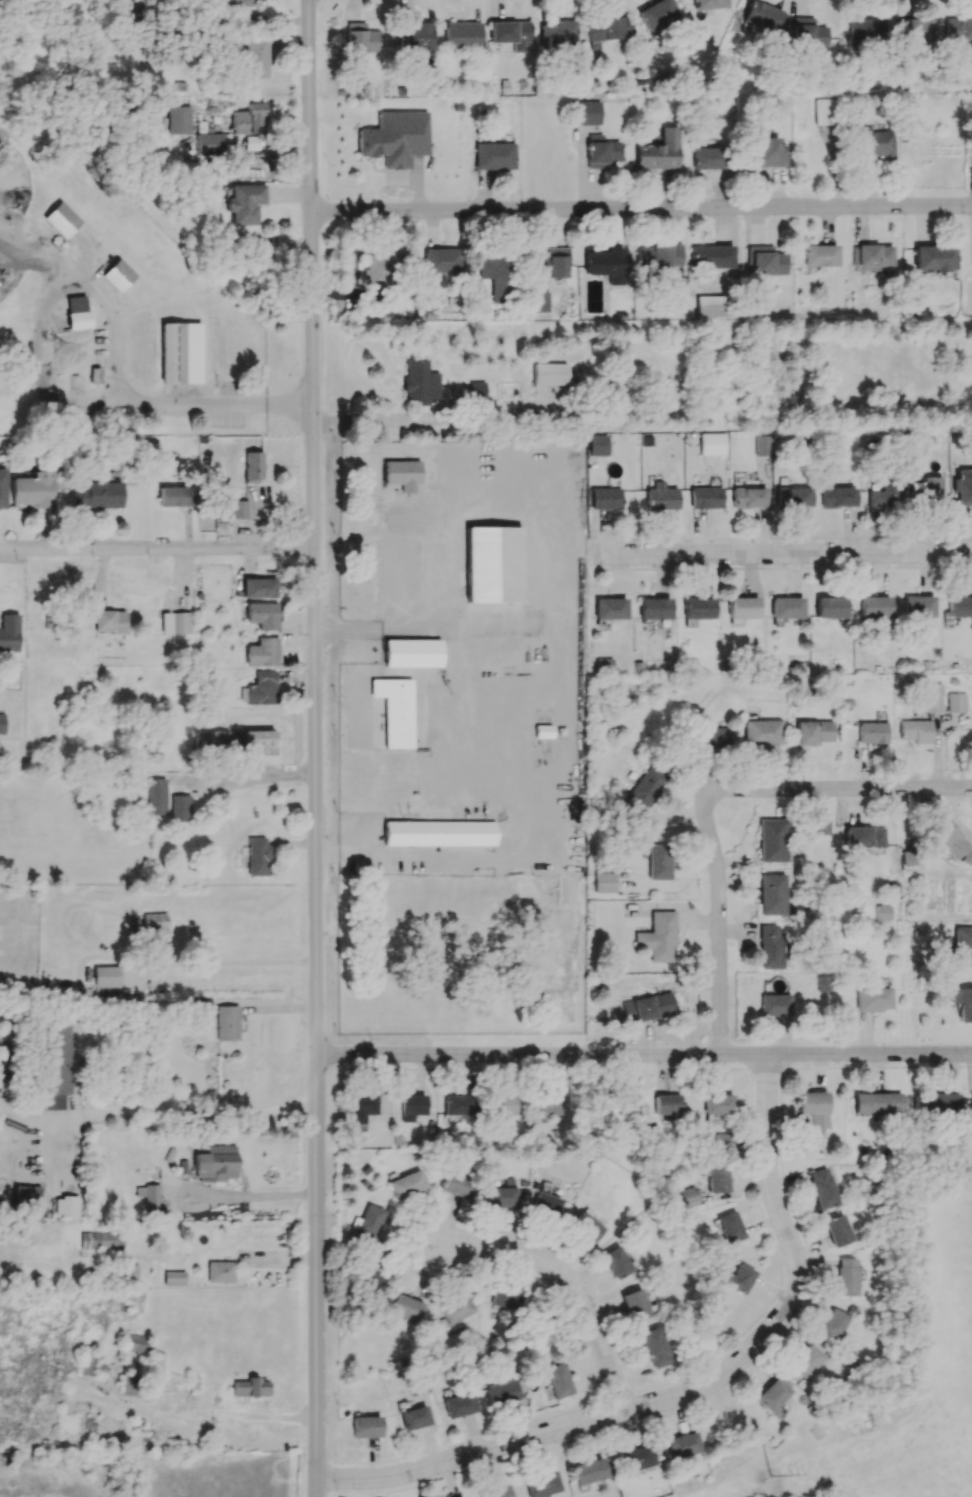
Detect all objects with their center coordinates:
building: (235, 2)
building: (709, 4)
building: (656, 13)
building: (762, 15)
building: (912, 29)
building: (958, 29)
building: (606, 30)
building: (865, 30)
building: (510, 33)
building: (807, 33)
building: (557, 34)
building: (462, 35)
building: (361, 37)
building: (417, 42)
building: (255, 59)
building: (826, 111)
building: (588, 112)
building: (247, 118)
building: (178, 119)
building: (395, 138)
building: (209, 143)
building: (875, 145)
building: (601, 151)
building: (769, 151)
building: (494, 155)
building: (710, 158)
building: (245, 203)
road: (642, 208)
building: (61, 219)
building: (820, 255)
building: (658, 256)
building: (711, 256)
building: (872, 256)
building: (934, 257)
building: (441, 260)
building: (765, 260)
building: (551, 263)
building: (605, 264)
building: (377, 270)
building: (118, 275)
building: (497, 277)
building: (539, 301)
building: (709, 305)
building: (77, 312)
road: (45, 337)
building: (180, 353)
building: (549, 373)
building: (420, 382)
building: (476, 389)
road: (216, 408)
road: (435, 422)
building: (692, 438)
building: (712, 443)
building: (597, 445)
building: (762, 445)
building: (253, 467)
building: (403, 474)
building: (3, 488)
building: (33, 489)
building: (927, 489)
building: (964, 489)
building: (885, 494)
building: (97, 495)
building: (176, 496)
building: (661, 496)
building: (793, 496)
building: (837, 496)
building: (705, 497)
building: (748, 497)
building: (604, 498)
building: (238, 509)
road: (157, 550)
road: (784, 554)
building: (259, 587)
building: (491, 592)
building: (918, 606)
building: (959, 606)
building: (742, 607)
building: (786, 607)
building: (830, 607)
building: (874, 607)
building: (610, 608)
building: (656, 608)
building: (698, 608)
building: (263, 615)
building: (110, 621)
building: (176, 623)
road: (380, 627)
road: (503, 627)
building: (9, 632)
building: (263, 652)
building: (412, 653)
building: (604, 665)
road: (560, 671)
building: (262, 688)
building: (933, 697)
building: (956, 702)
building: (395, 710)
building: (2, 723)
building: (916, 731)
building: (762, 732)
building: (813, 732)
building: (872, 732)
building: (713, 738)
building: (211, 740)
building: (252, 742)
road: (315, 748)
road: (257, 773)
building: (645, 788)
road: (837, 788)
building: (157, 795)
building: (180, 808)
building: (820, 826)
building: (438, 833)
building: (865, 838)
building: (773, 840)
building: (953, 843)
building: (258, 856)
building: (658, 861)
building: (604, 882)
building: (772, 894)
building: (883, 912)
road: (718, 923)
building: (155, 926)
building: (658, 936)
building: (962, 945)
building: (770, 946)
road: (232, 966)
building: (106, 981)
building: (825, 984)
building: (874, 998)
building: (960, 1002)
building: (775, 1004)
building: (202, 1006)
building: (647, 1007)
building: (226, 1022)
road: (643, 1053)
building: (56, 1065)
building: (971, 1101)
building: (877, 1102)
building: (717, 1103)
building: (936, 1103)
building: (458, 1104)
building: (546, 1104)
building: (666, 1104)
building: (503, 1105)
road: (187, 1106)
building: (412, 1106)
building: (363, 1108)
building: (813, 1109)
building: (214, 1161)
building: (718, 1179)
building: (406, 1184)
building: (456, 1184)
building: (27, 1185)
building: (823, 1188)
building: (687, 1196)
building: (151, 1197)
road: (244, 1202)
building: (544, 1204)
building: (371, 1220)
building: (586, 1225)
building: (730, 1227)
building: (838, 1230)
building: (101, 1240)
building: (616, 1262)
building: (220, 1271)
building: (132, 1272)
building: (847, 1276)
building: (174, 1278)
building: (738, 1278)
road: (568, 1280)
building: (505, 1297)
building: (635, 1304)
building: (406, 1307)
building: (455, 1309)
building: (833, 1323)
building: (541, 1335)
building: (135, 1343)
building: (654, 1347)
building: (87, 1359)
building: (806, 1360)
building: (558, 1380)
building: (131, 1385)
building: (417, 1386)
building: (250, 1387)
road: (692, 1391)
building: (501, 1392)
building: (773, 1394)
building: (459, 1404)
road: (210, 1411)
building: (414, 1417)
building: (366, 1426)
building: (683, 1445)
building: (635, 1458)
building: (588, 1471)
power tower: (772, 1475)
landfill: (66, 1483)
building: (542, 1484)
building: (495, 1491)
building: (462, 1496)

